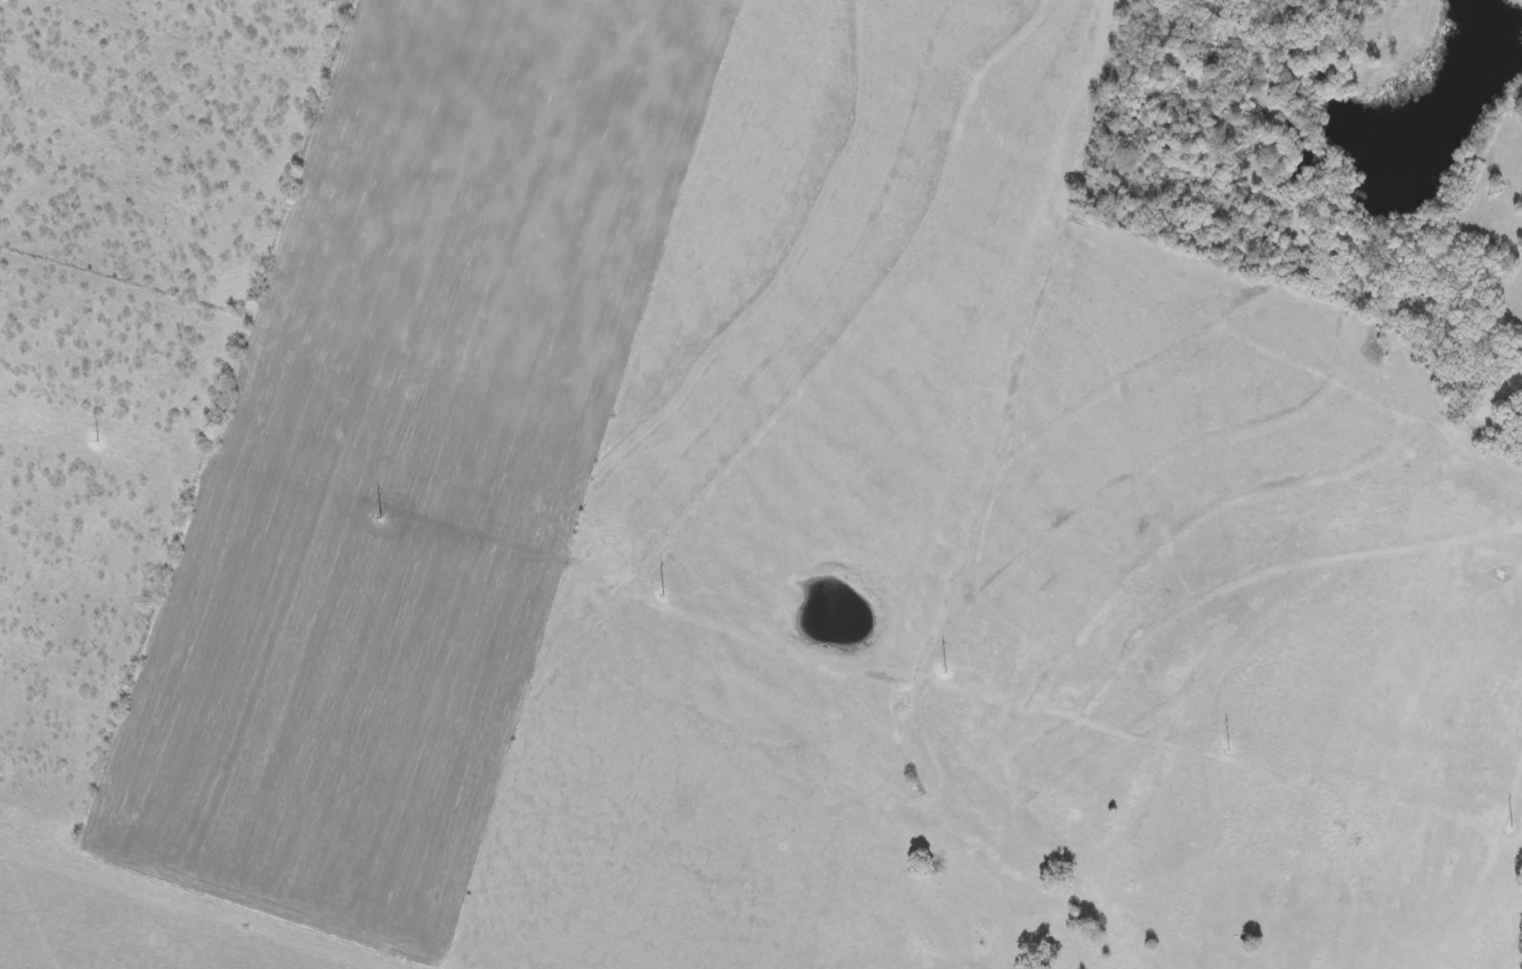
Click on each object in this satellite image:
power tower: (97, 442)
power tower: (379, 519)
power tower: (663, 596)
power tower: (945, 672)
power tower: (1228, 751)
power tower: (1510, 827)

